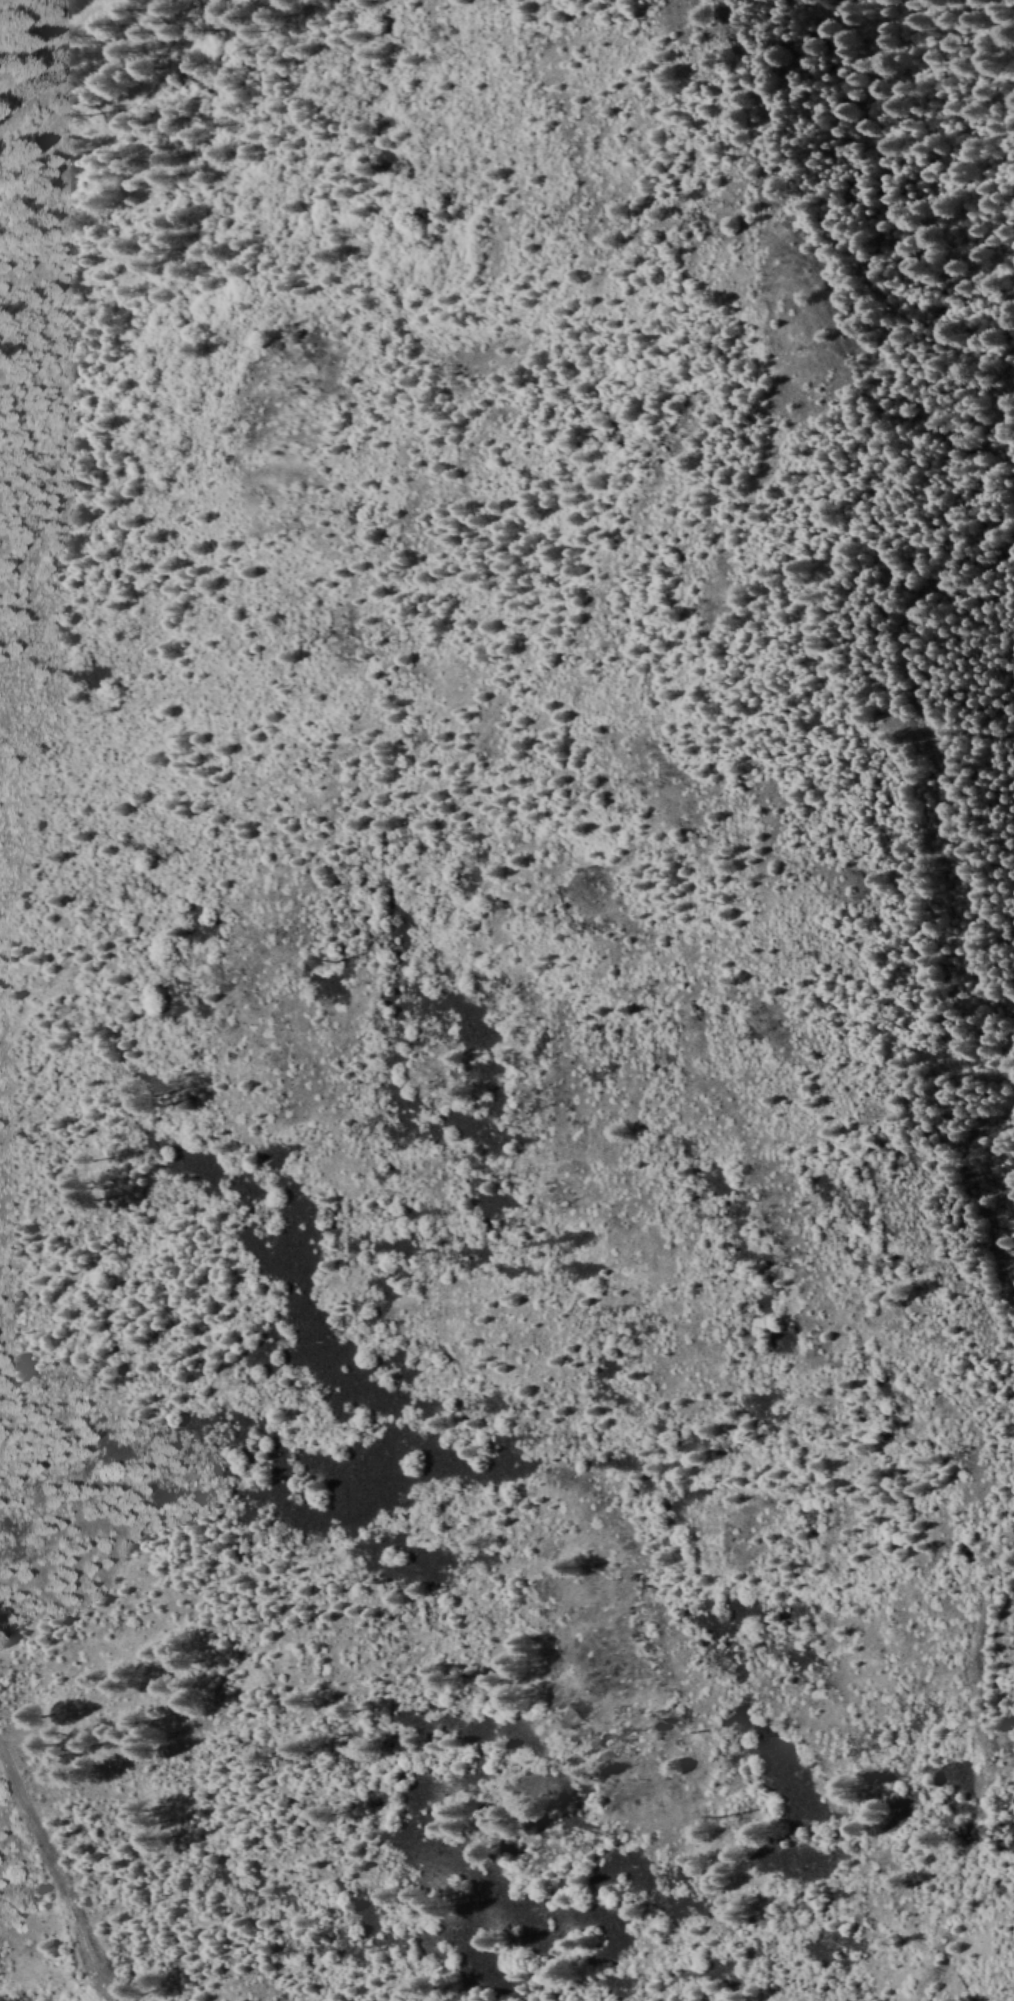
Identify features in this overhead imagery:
road: (56, 1894)

